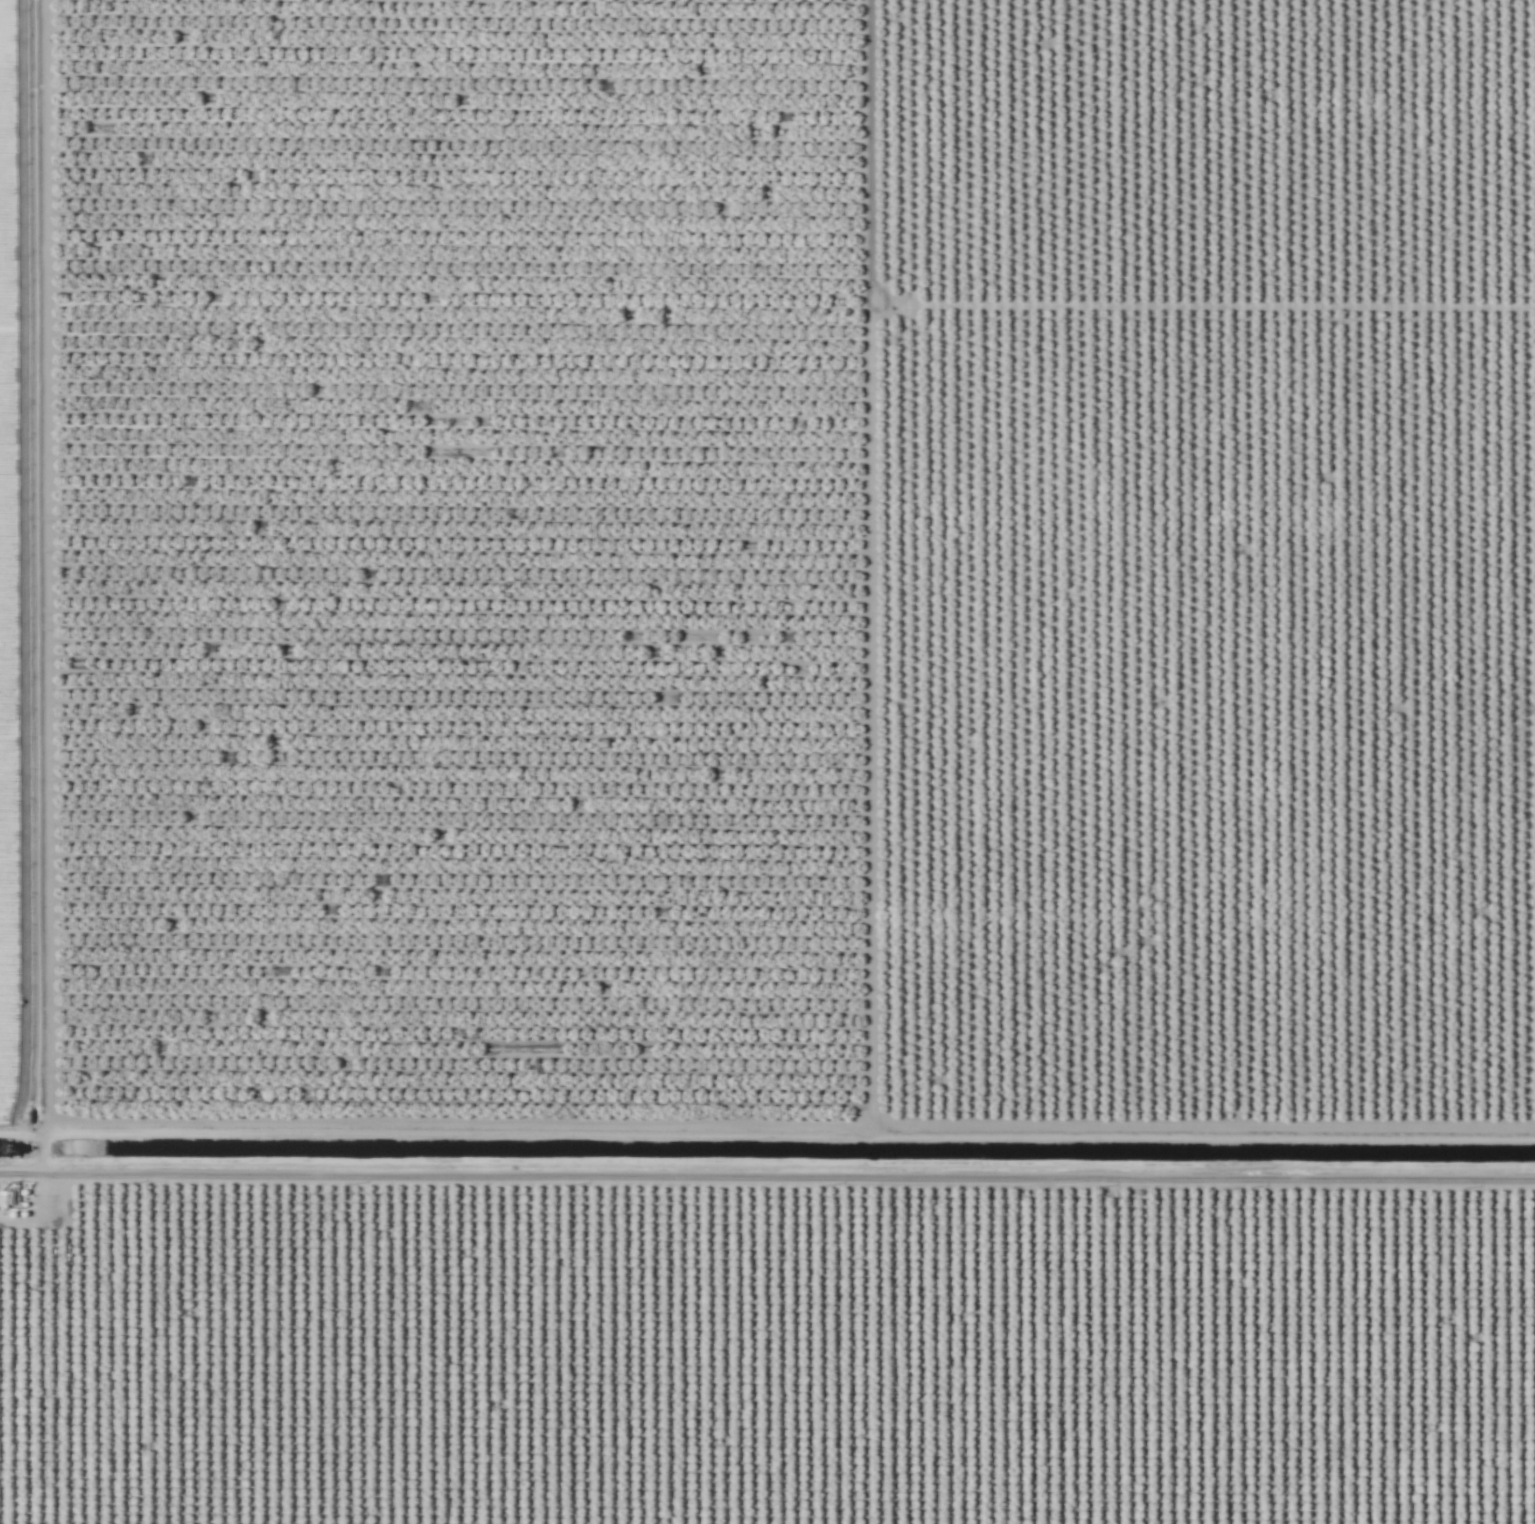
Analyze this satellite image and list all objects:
road: (799, 306)
crop: (17, 570)
road: (52, 761)
road: (870, 979)
road: (21, 1132)
road: (21, 1164)
road: (788, 1184)

